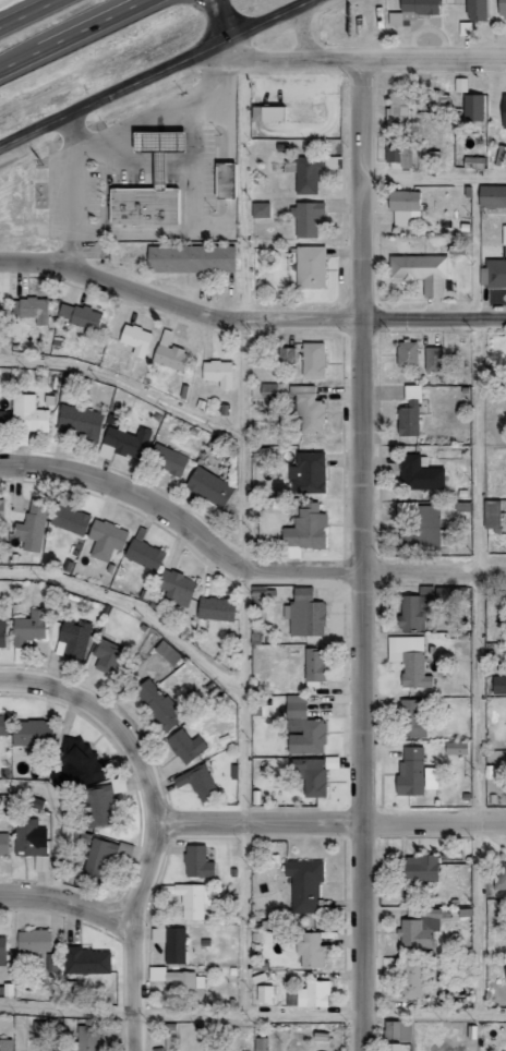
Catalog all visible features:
building: (499, 8)
building: (410, 10)
building: (473, 10)
road: (26, 13)
road: (218, 19)
road: (73, 36)
road: (362, 61)
road: (154, 73)
building: (438, 101)
building: (395, 107)
building: (471, 107)
building: (502, 110)
building: (272, 113)
building: (160, 147)
gas station: (160, 147)
building: (499, 156)
building: (471, 162)
road: (435, 172)
building: (305, 173)
building: (226, 178)
road: (70, 193)
building: (491, 195)
building: (145, 203)
building: (400, 205)
building: (258, 209)
building: (304, 218)
building: (503, 234)
building: (191, 256)
building: (309, 266)
building: (419, 271)
building: (495, 273)
building: (29, 309)
building: (79, 317)
road: (249, 318)
building: (134, 339)
building: (167, 352)
building: (405, 353)
building: (286, 355)
building: (311, 359)
building: (431, 359)
building: (215, 373)
road: (126, 377)
building: (306, 409)
building: (27, 413)
building: (406, 419)
building: (2, 421)
building: (79, 421)
building: (125, 440)
building: (166, 459)
building: (305, 473)
building: (418, 473)
building: (207, 486)
building: (3, 509)
building: (490, 514)
building: (73, 519)
building: (35, 525)
building: (302, 530)
road: (243, 533)
building: (109, 539)
building: (147, 554)
road: (366, 556)
road: (240, 560)
building: (180, 585)
road: (475, 591)
road: (135, 602)
building: (219, 608)
building: (412, 611)
building: (309, 613)
building: (32, 627)
building: (3, 631)
building: (75, 638)
building: (170, 652)
building: (109, 655)
building: (408, 660)
building: (317, 666)
building: (497, 685)
building: (160, 703)
building: (410, 717)
road: (111, 720)
building: (4, 724)
building: (305, 727)
building: (35, 734)
building: (189, 745)
building: (453, 748)
building: (83, 761)
building: (412, 772)
building: (201, 781)
building: (97, 807)
road: (55, 822)
road: (329, 829)
building: (33, 839)
building: (5, 844)
building: (99, 857)
building: (201, 861)
building: (415, 868)
building: (498, 875)
building: (306, 883)
building: (195, 898)
road: (69, 907)
building: (418, 929)
road: (135, 939)
building: (36, 940)
building: (174, 942)
building: (313, 949)
building: (4, 951)
building: (89, 961)
building: (52, 962)
building: (504, 970)
building: (408, 979)
building: (183, 984)
building: (267, 993)
building: (317, 993)
road: (252, 1011)
building: (396, 1030)
building: (92, 1037)
building: (7, 1044)
building: (389, 1047)

